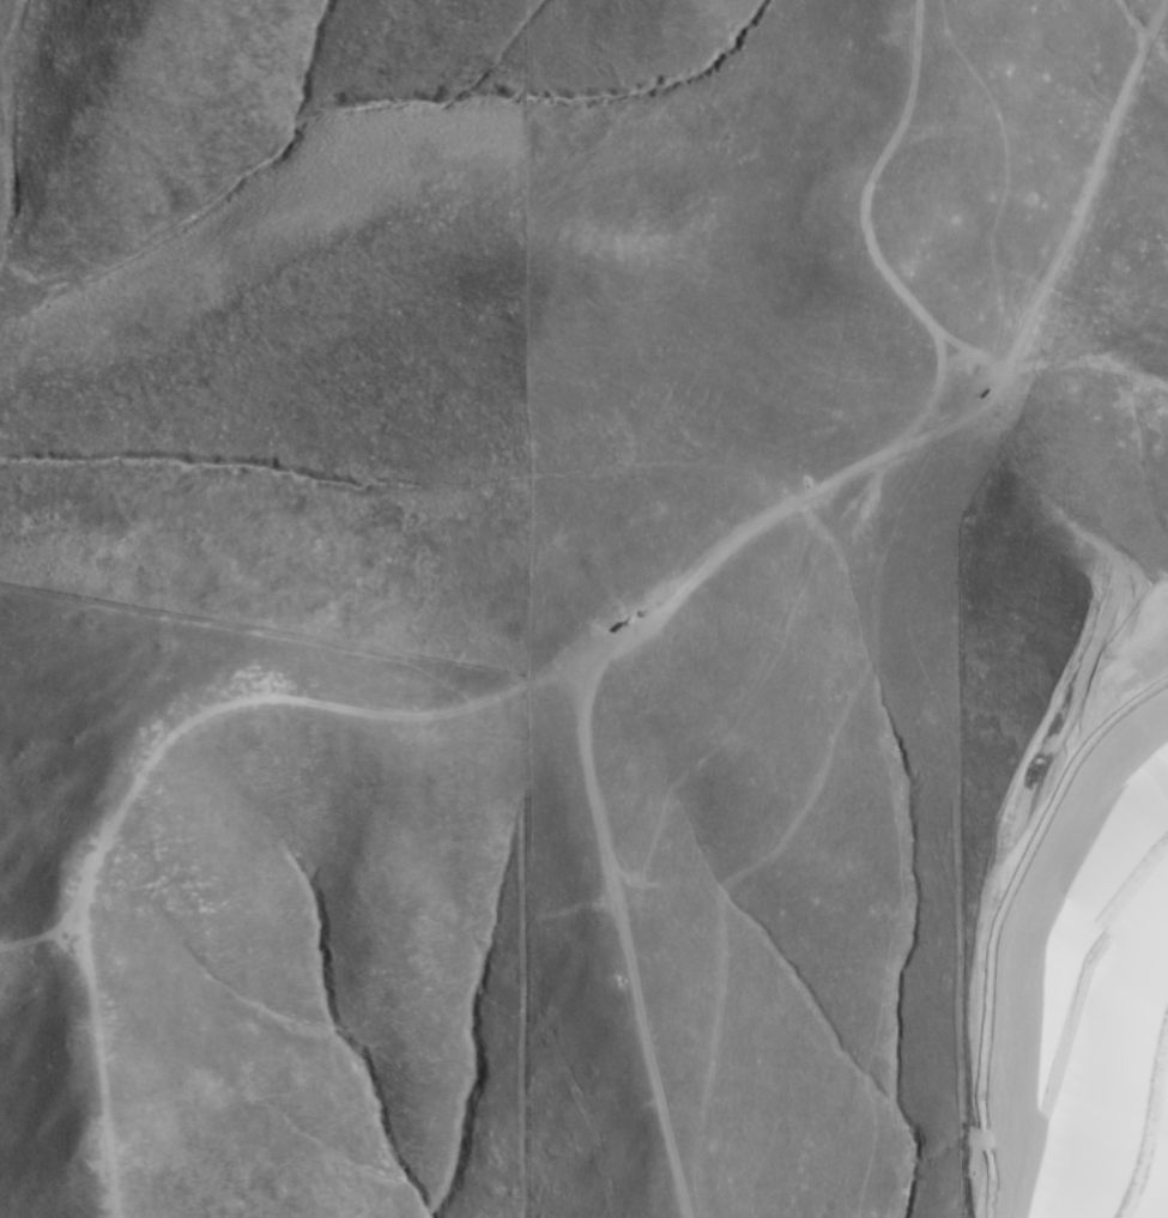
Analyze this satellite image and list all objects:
landfill: (1099, 1102)

